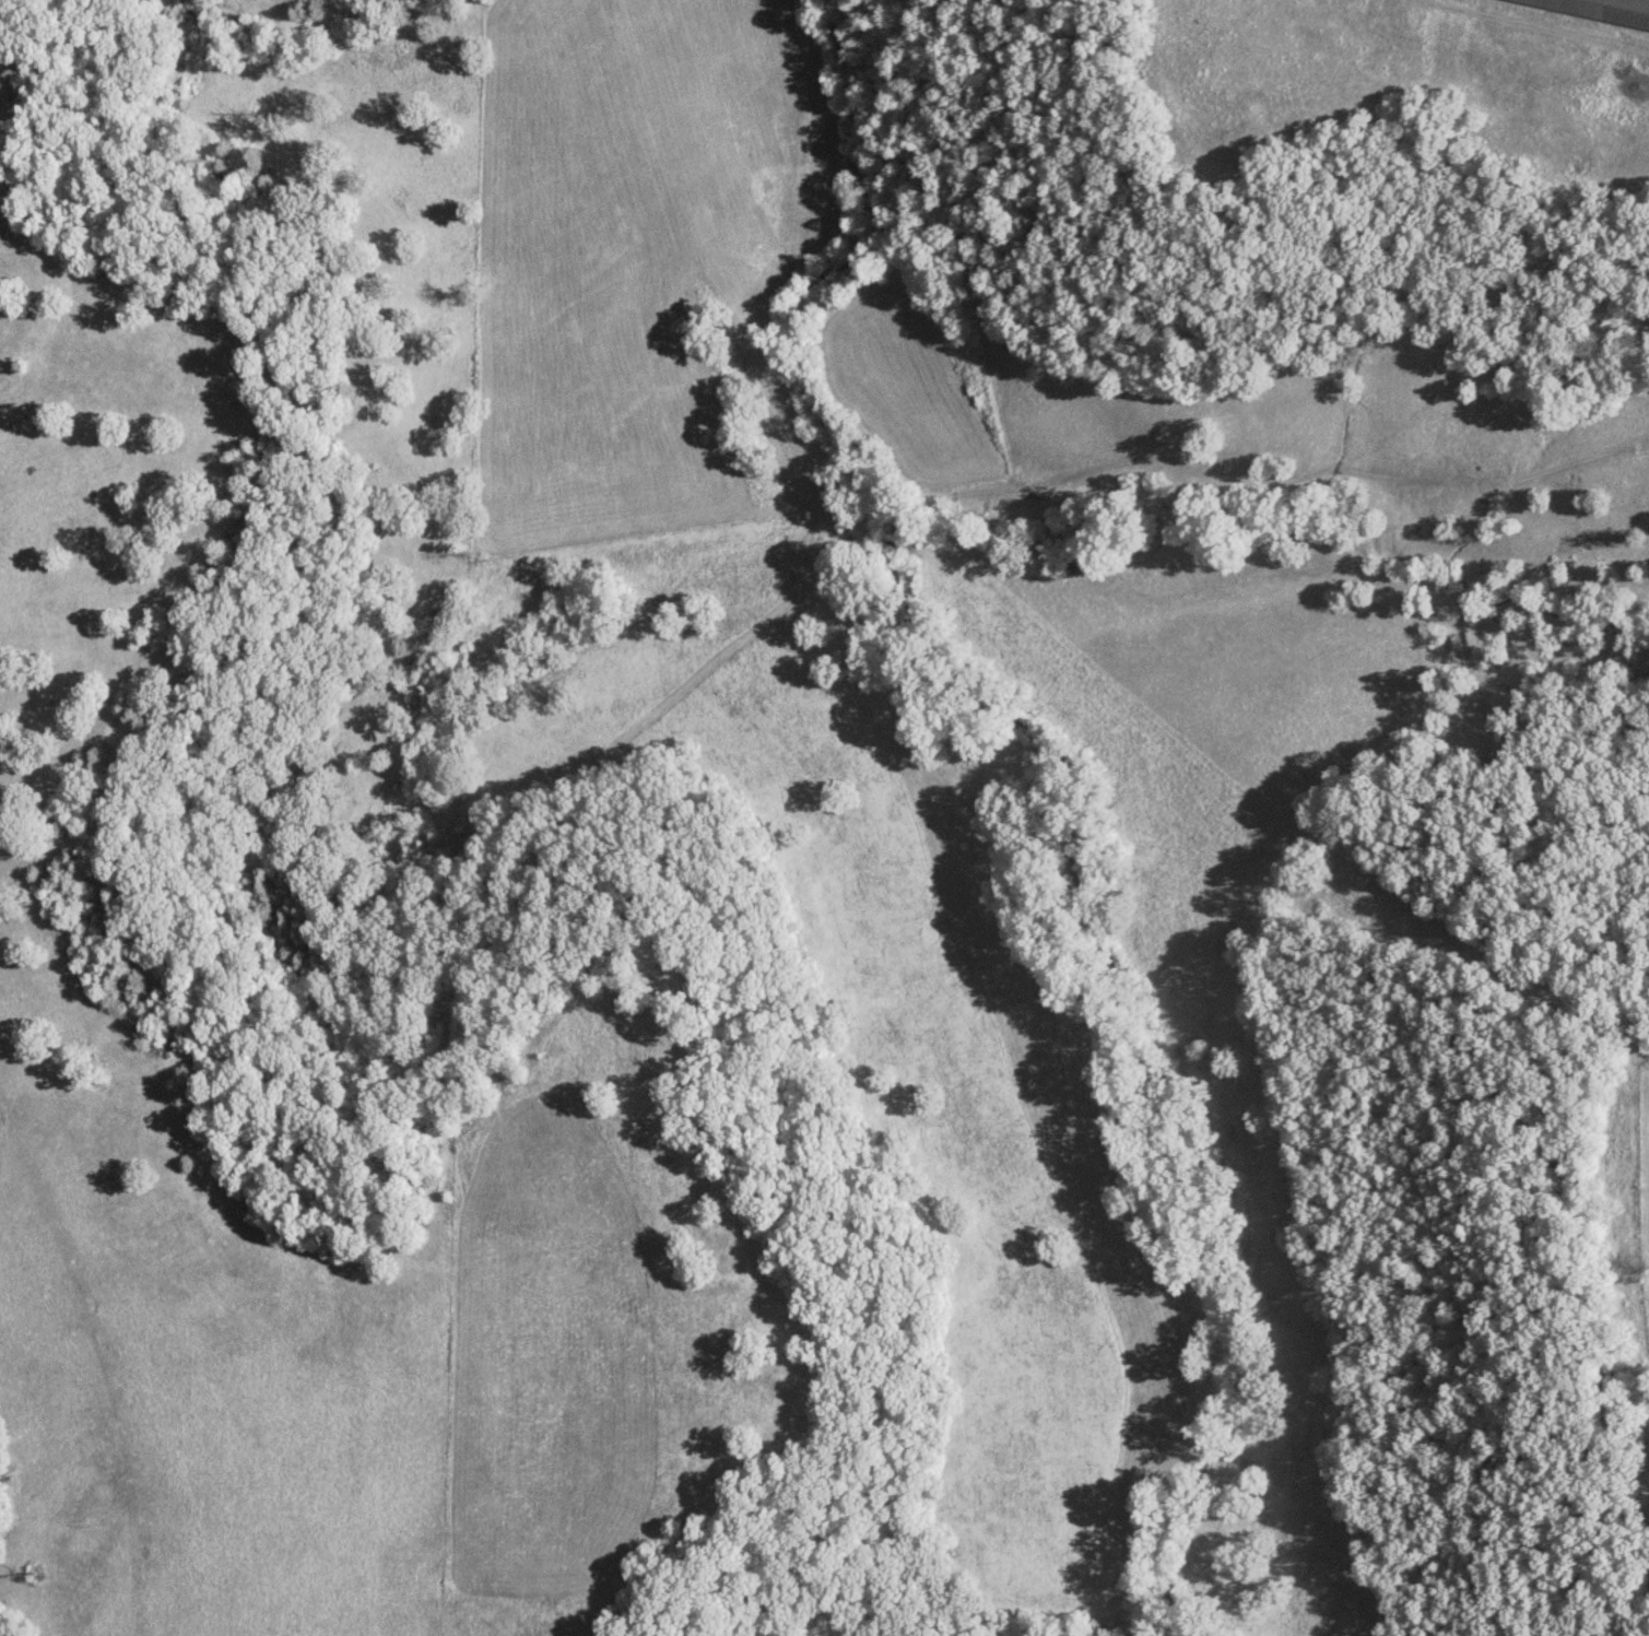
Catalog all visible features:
building: (1600, 9)

